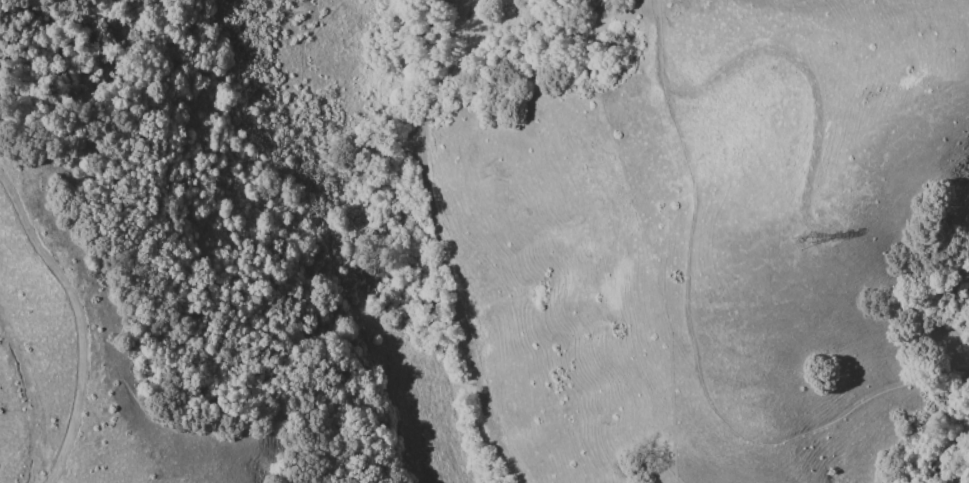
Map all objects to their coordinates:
power tower: (807, 242)
road: (442, 244)
road: (80, 322)
road: (691, 325)
road: (958, 470)

